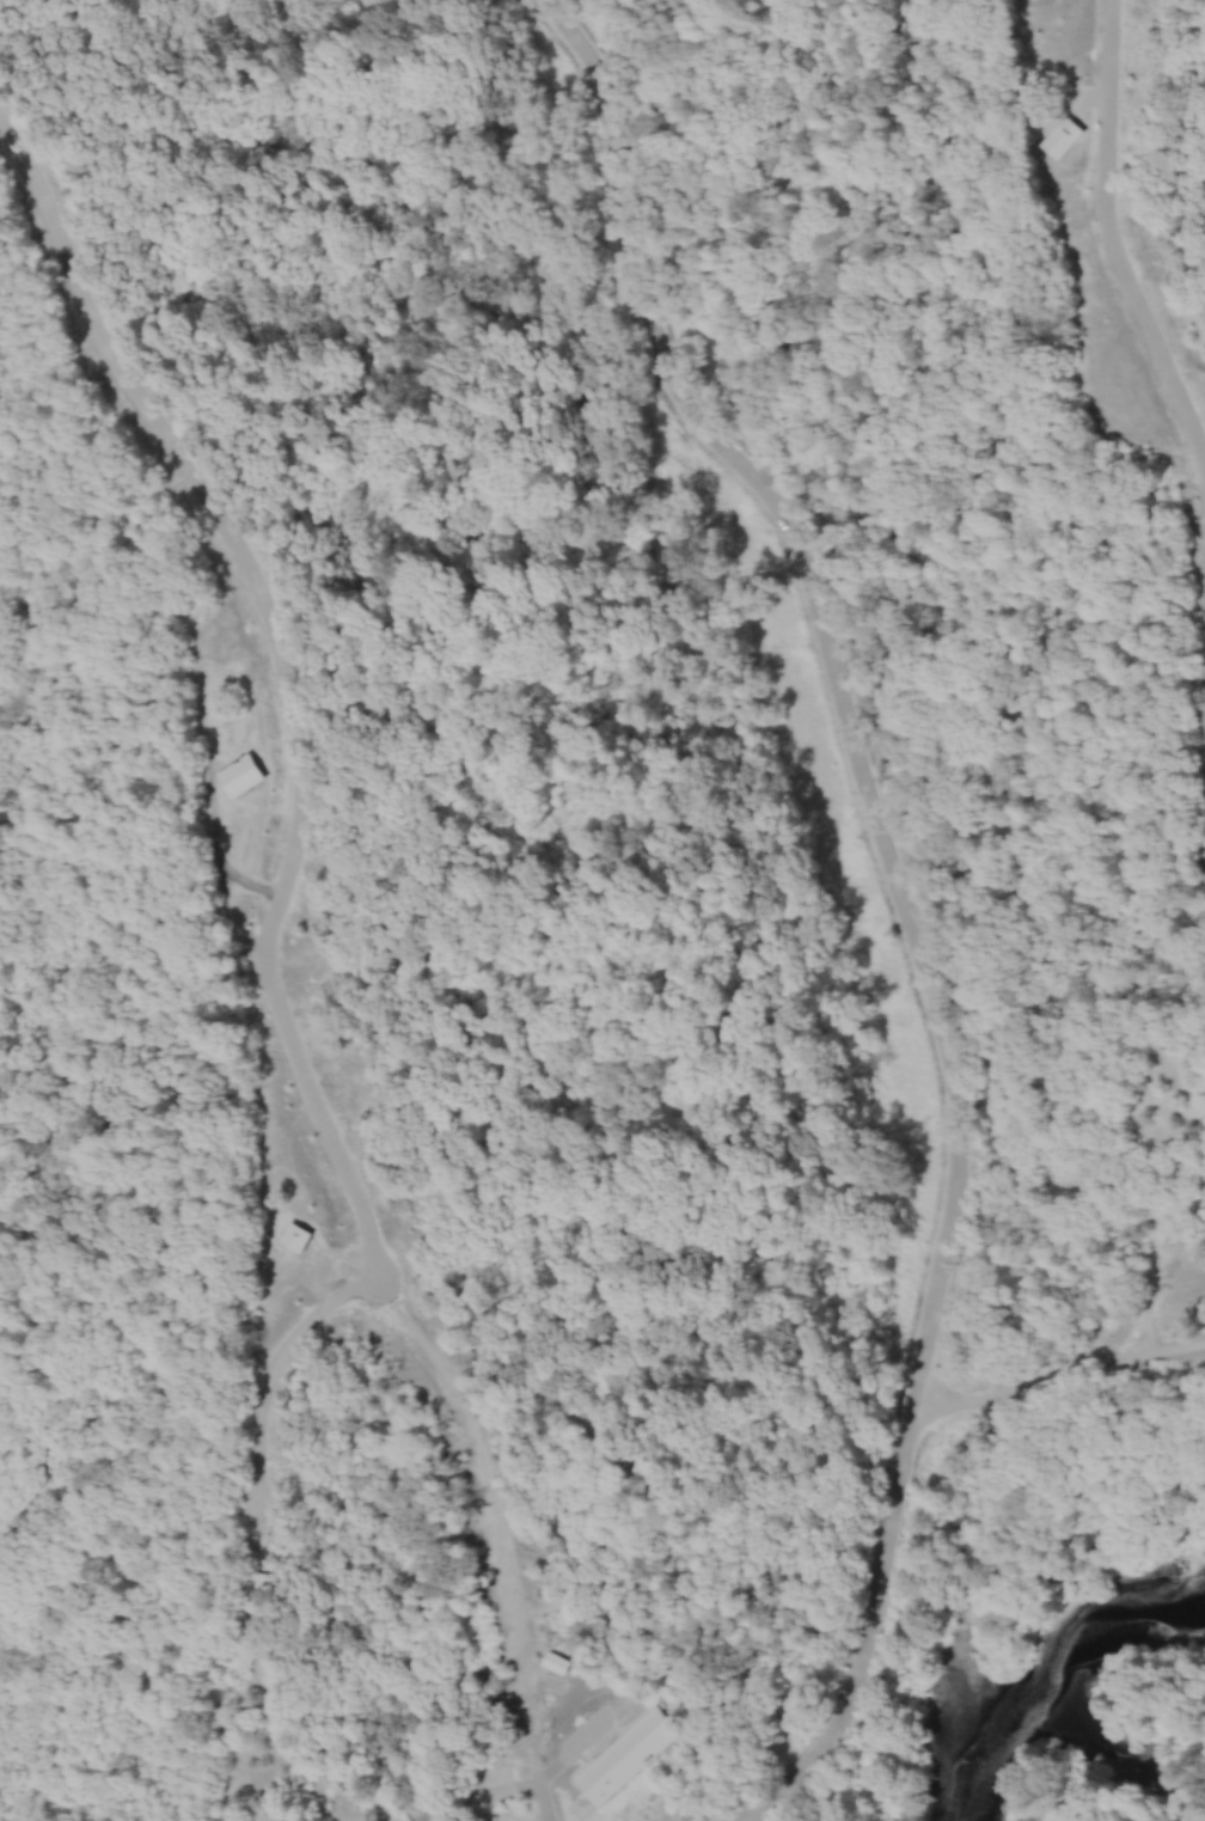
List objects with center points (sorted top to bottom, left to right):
building: (1065, 135)
road: (1108, 236)
road: (287, 674)
road: (845, 689)
building: (243, 771)
building: (299, 1235)
road: (1152, 1257)
road: (268, 1371)
building: (649, 1468)
road: (888, 1504)
road: (497, 1535)
building: (257, 1588)
building: (559, 1661)
building: (739, 1707)
building: (794, 1707)
building: (630, 1754)
building: (406, 1816)
parking lot: (753, 1817)

